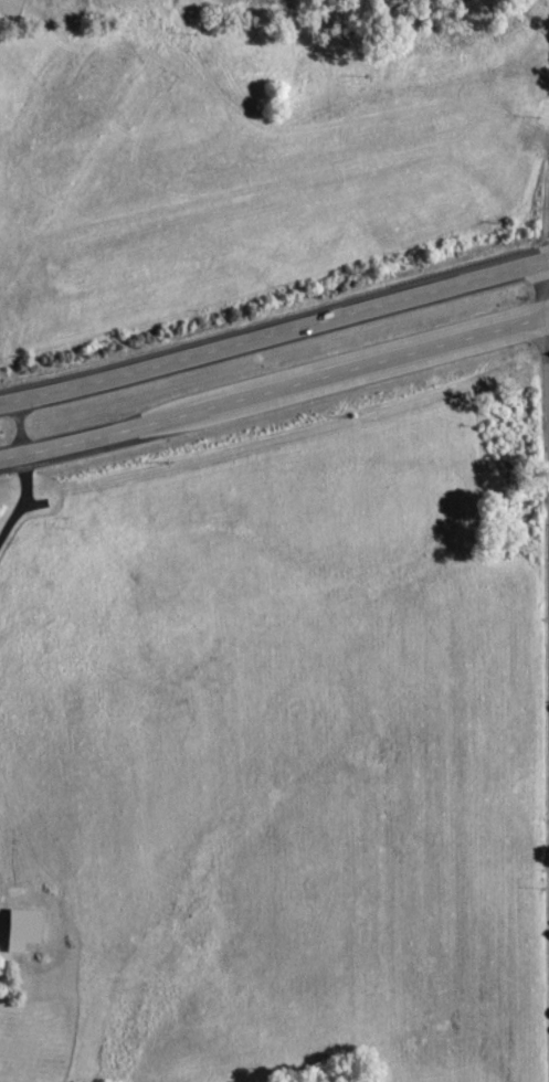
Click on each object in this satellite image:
road: (274, 331)
road: (369, 367)
road: (3, 431)
road: (94, 439)
road: (21, 499)

